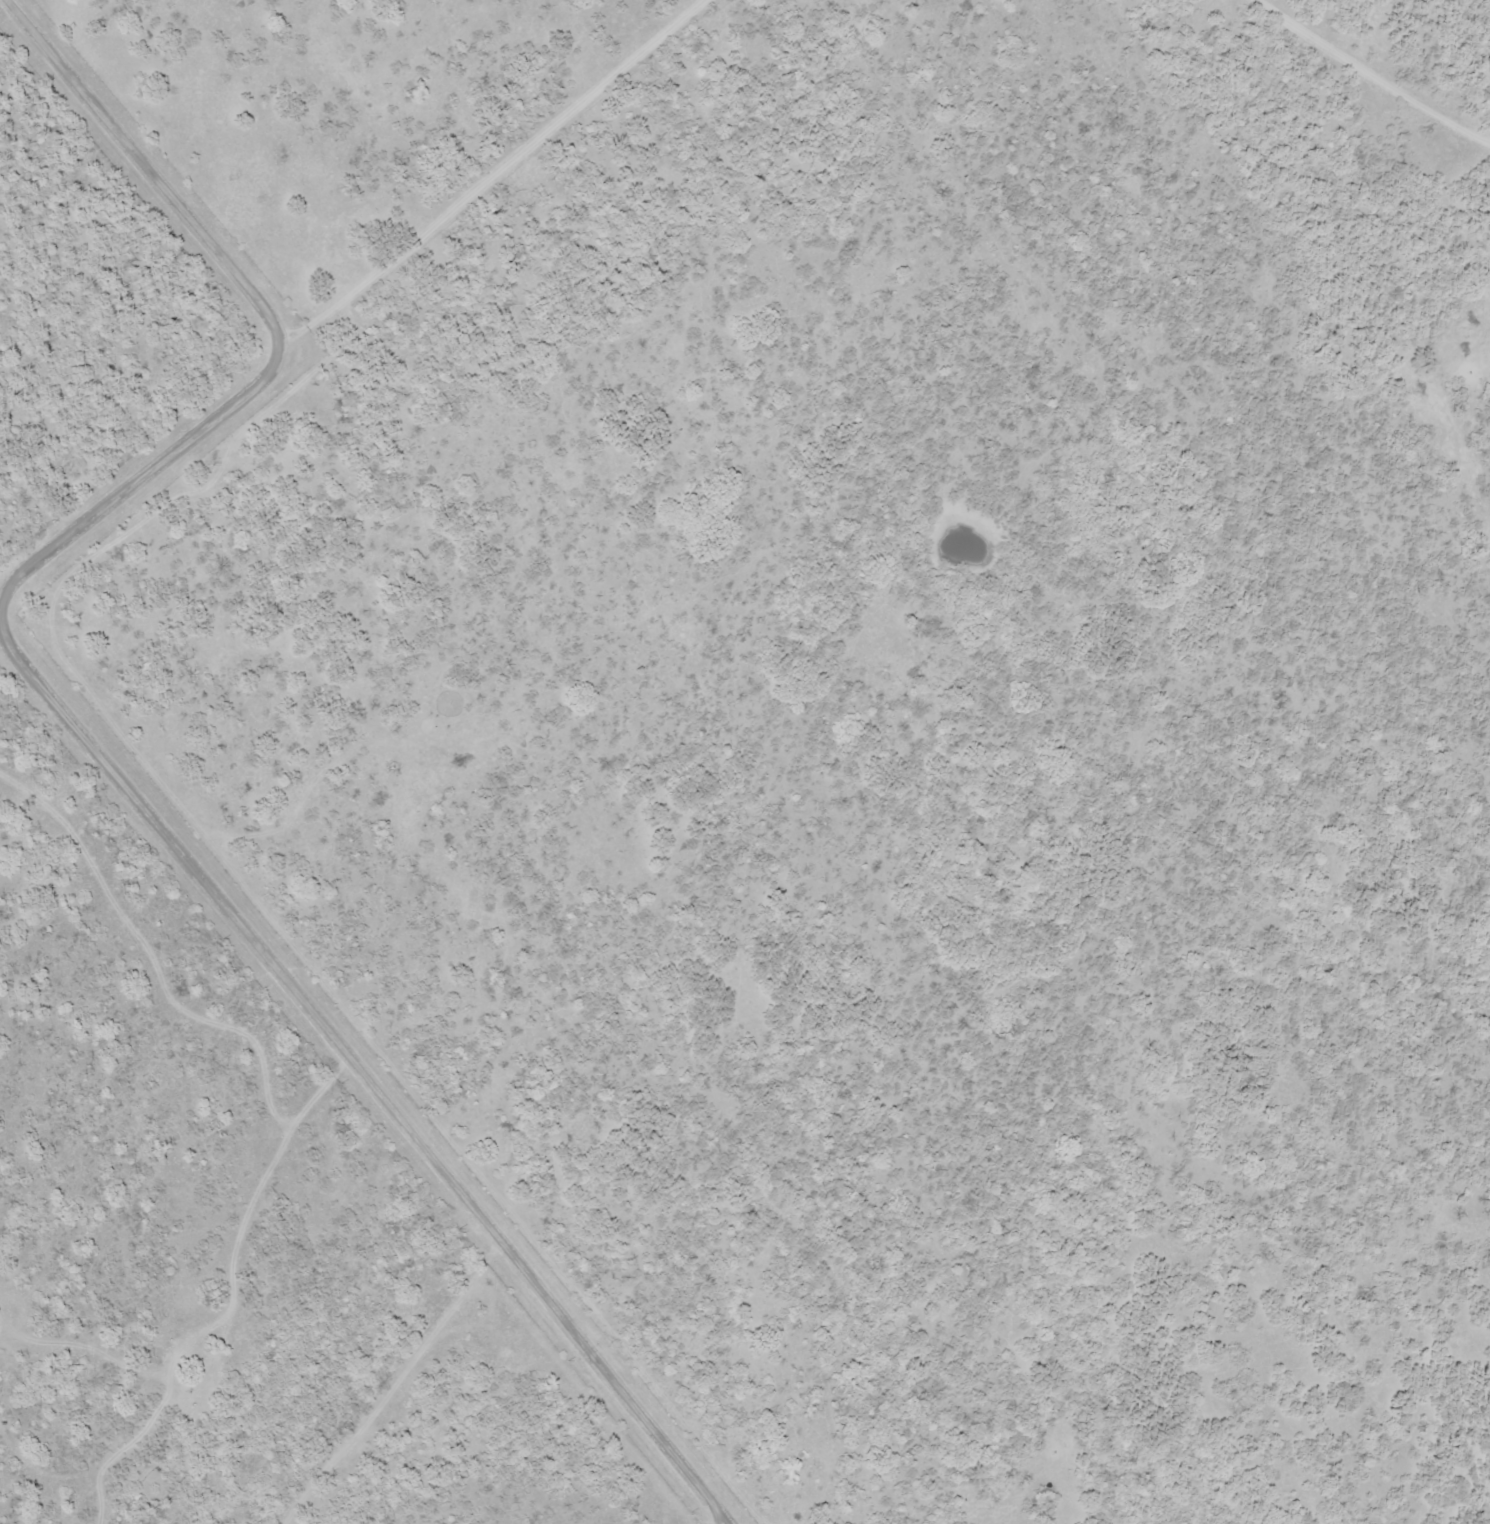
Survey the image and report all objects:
road: (1369, 77)
road: (477, 194)
road: (92, 747)
road: (151, 957)
road: (273, 1174)
road: (390, 1381)

